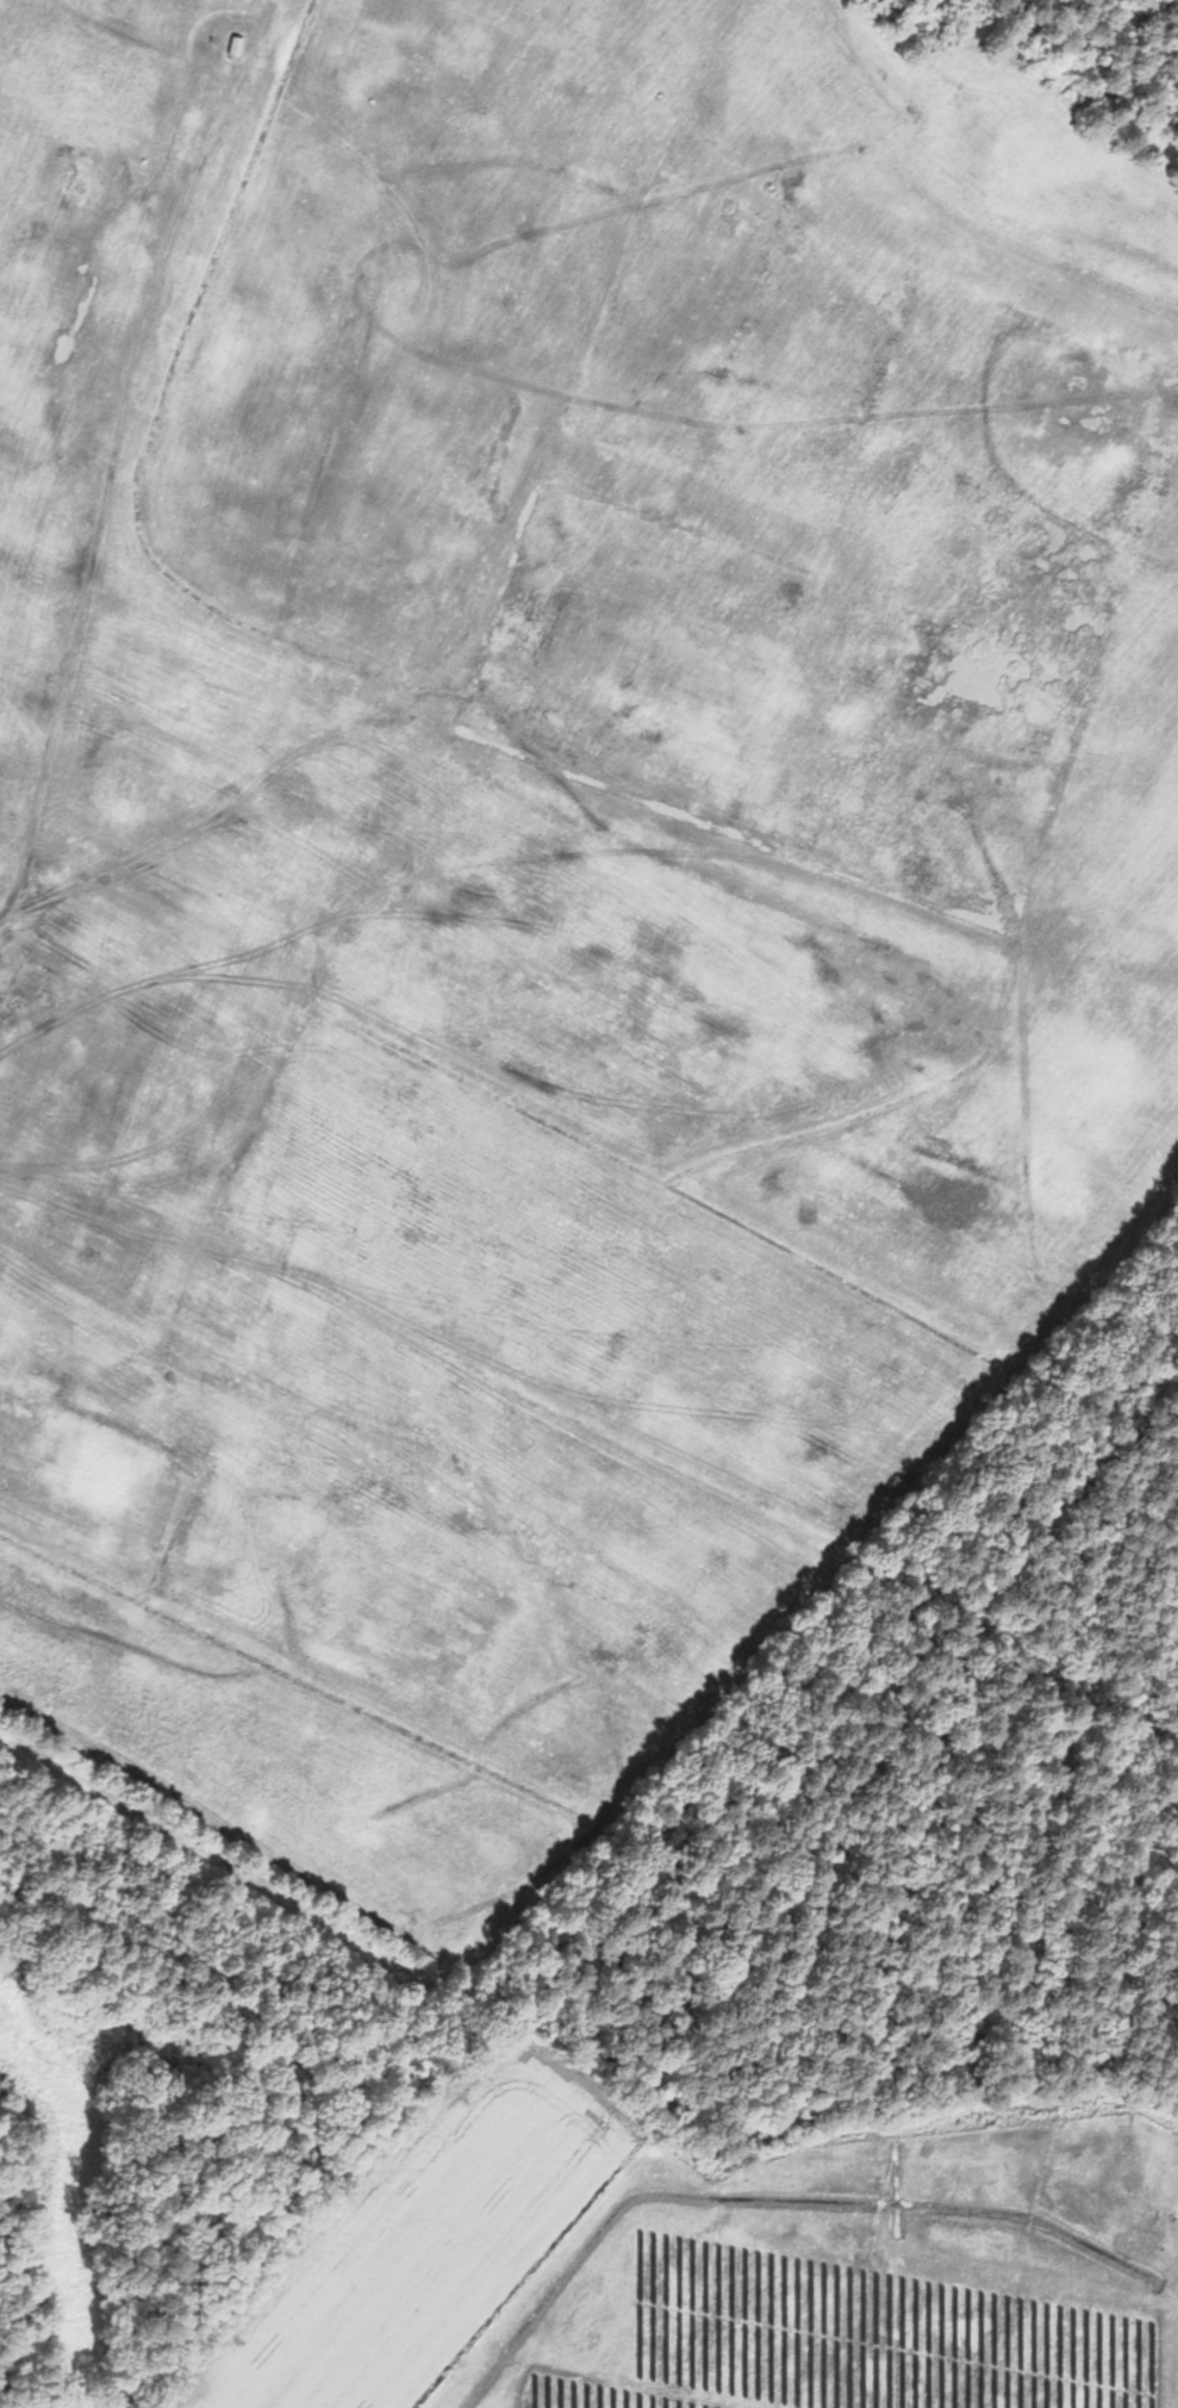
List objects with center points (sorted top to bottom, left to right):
building: (232, 48)

